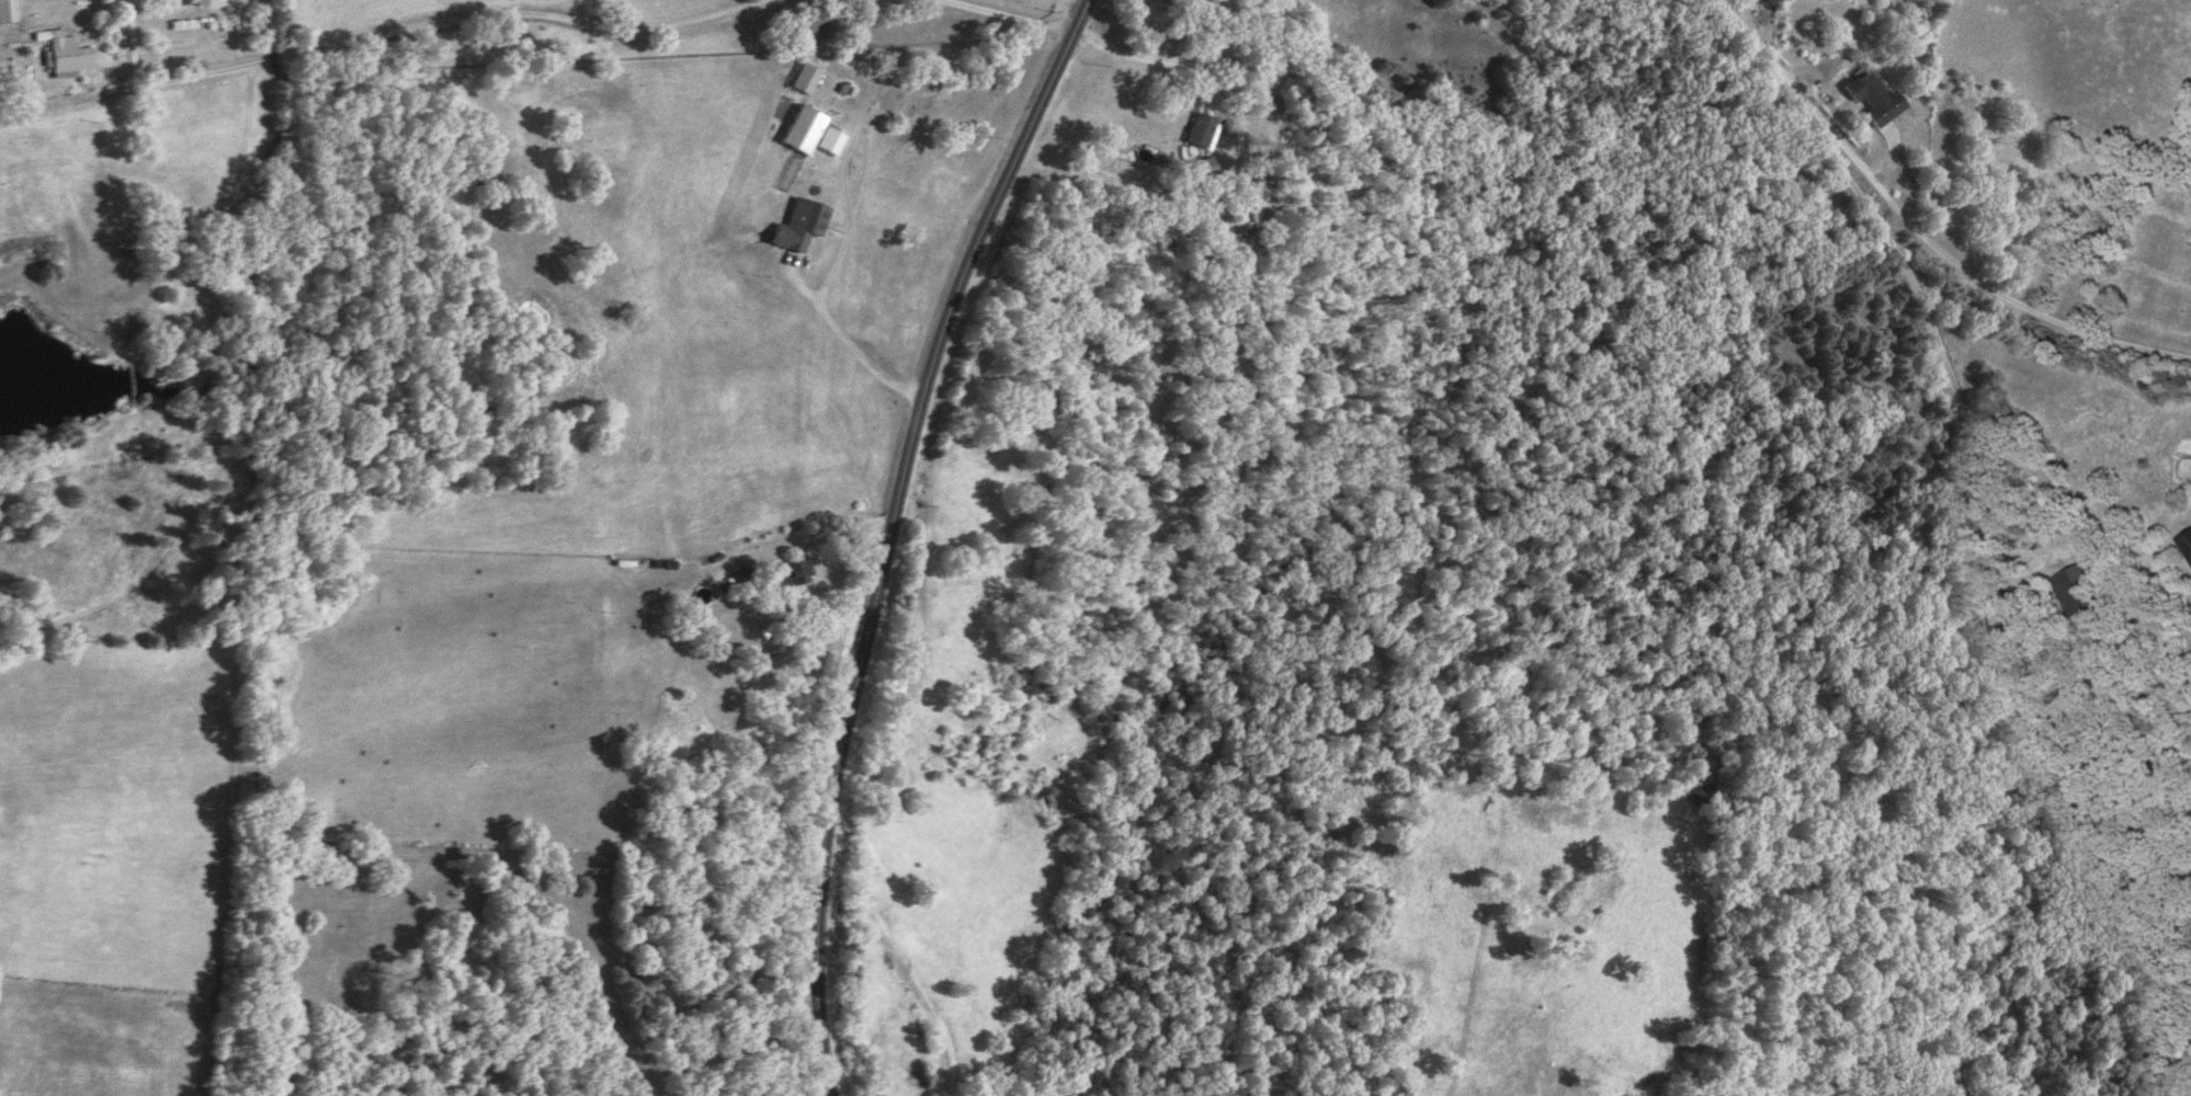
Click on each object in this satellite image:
building: (7, 11)
road: (1003, 14)
road: (1127, 24)
road: (379, 28)
building: (67, 56)
road: (1145, 58)
building: (1876, 99)
building: (1201, 129)
building: (810, 133)
building: (801, 226)
road: (1962, 269)
road: (847, 343)
road: (1942, 351)
road: (884, 534)
building: (2188, 543)
building: (794, 574)
building: (2077, 592)

